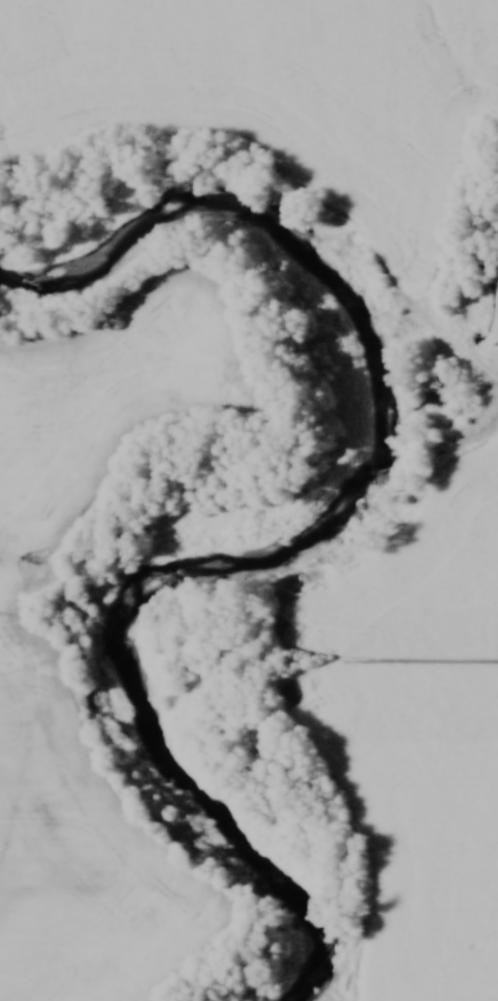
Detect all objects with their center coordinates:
river: (313, 524)

